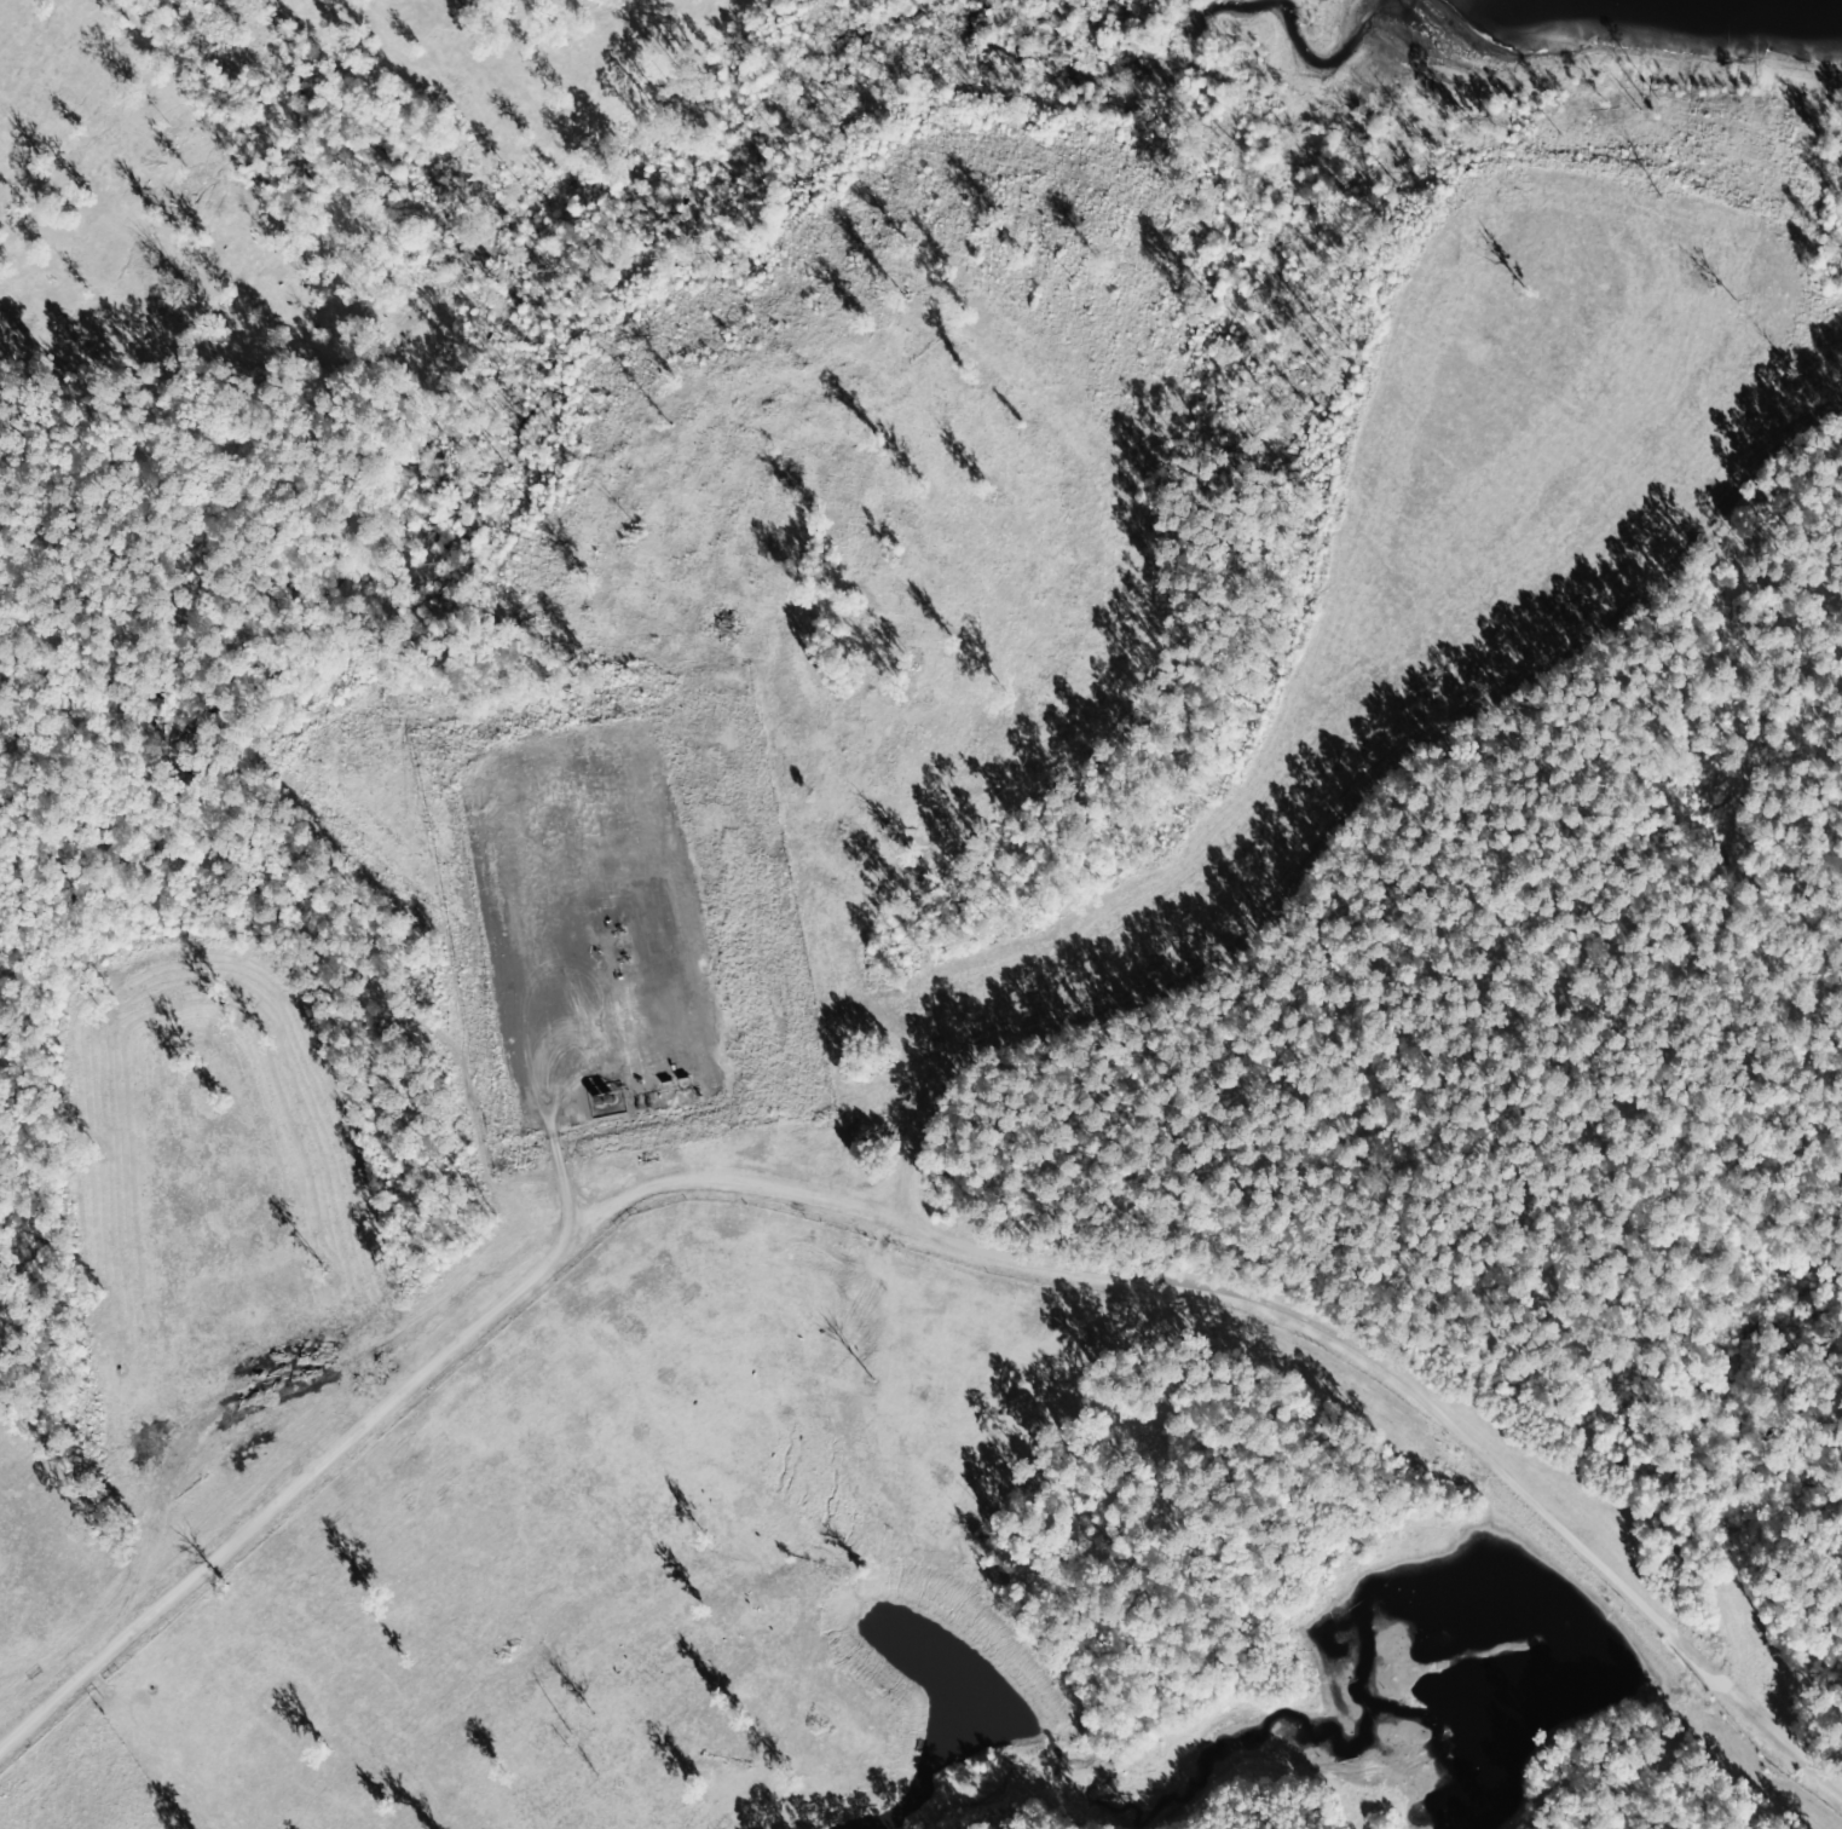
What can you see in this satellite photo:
road: (1380, 757)
road: (918, 1137)

